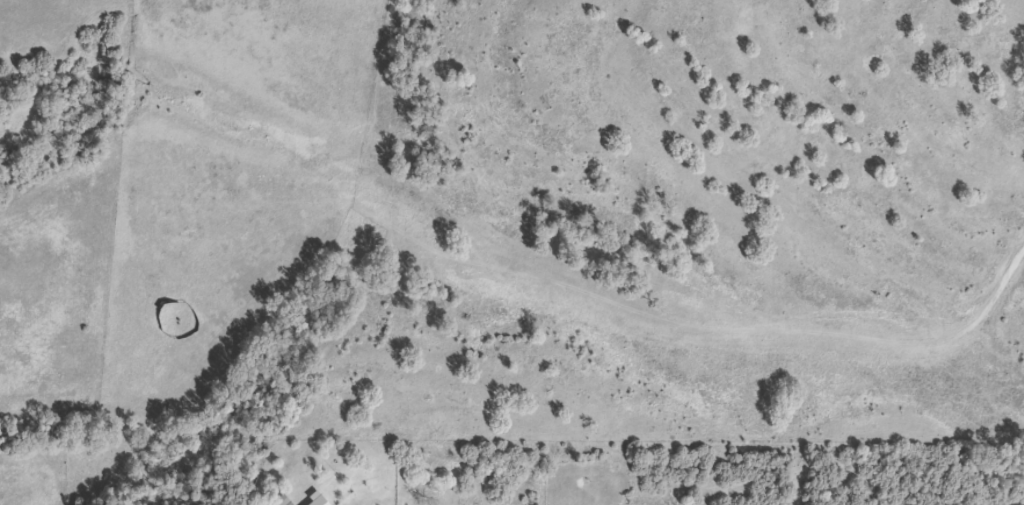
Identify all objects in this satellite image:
road: (793, 213)
building: (279, 500)
building: (313, 500)

